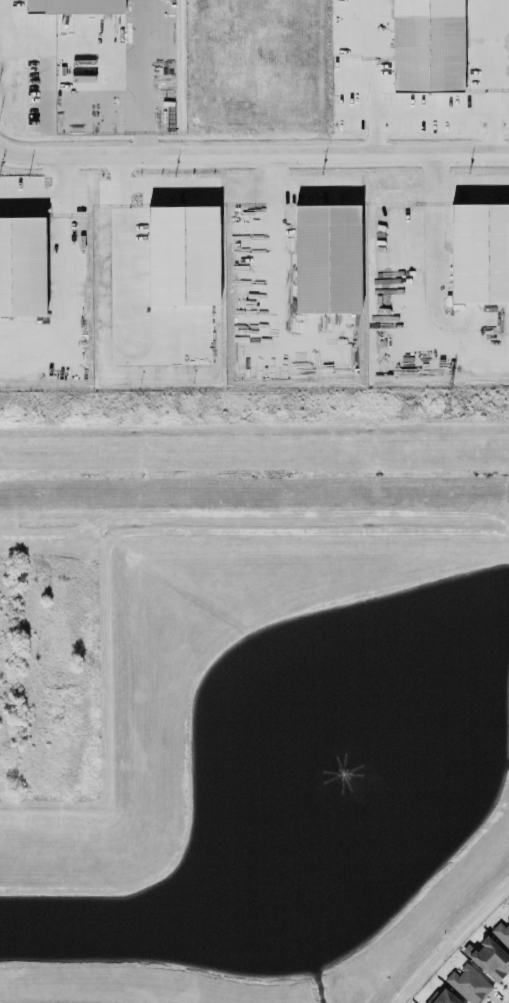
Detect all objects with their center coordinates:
building: (76, 3)
road: (1, 9)
road: (23, 36)
building: (427, 42)
road: (127, 61)
road: (369, 76)
road: (491, 76)
road: (140, 109)
road: (423, 112)
road: (253, 154)
road: (51, 197)
road: (435, 231)
building: (480, 246)
building: (183, 249)
building: (327, 252)
building: (22, 261)
power tower: (441, 411)
fountain: (359, 749)
building: (501, 933)
building: (488, 959)
building: (466, 984)
building: (439, 997)

